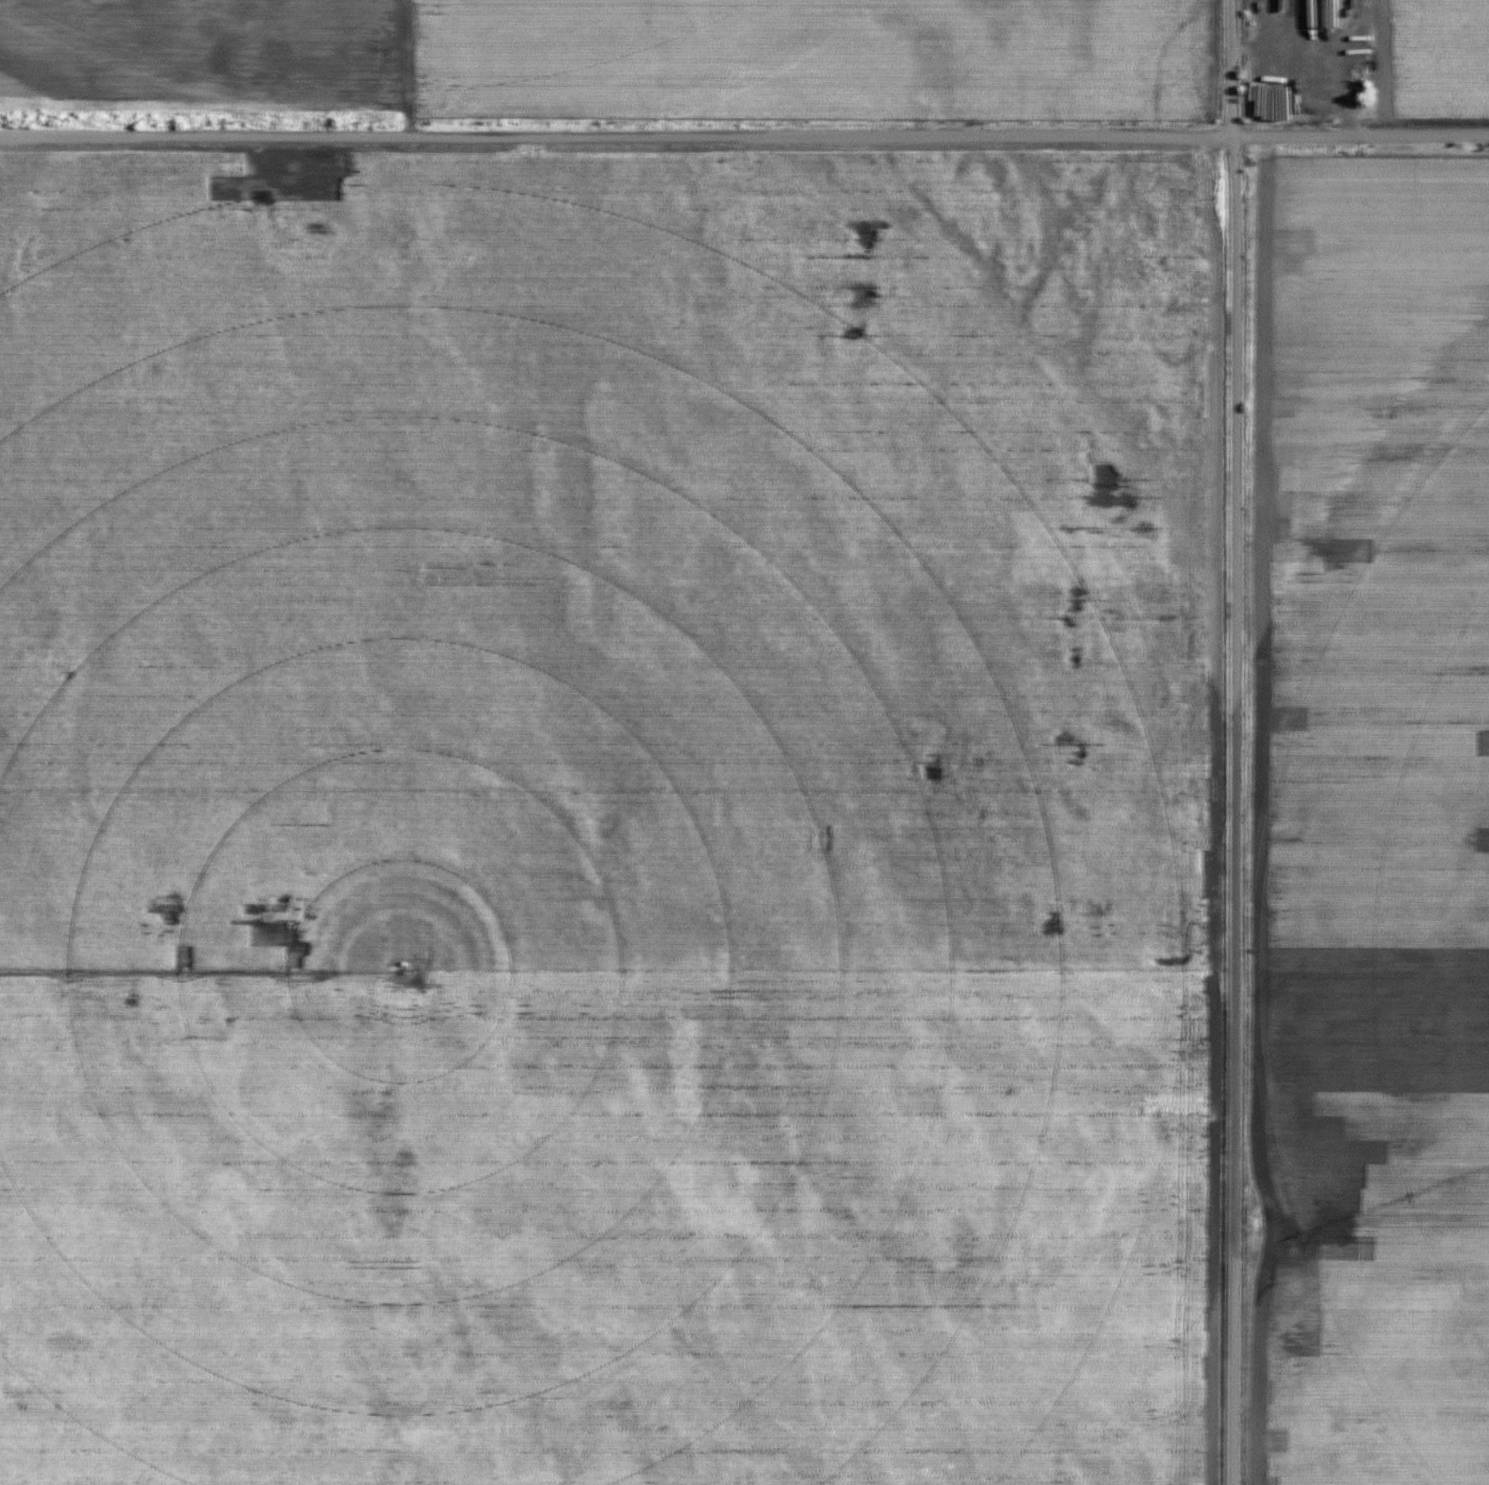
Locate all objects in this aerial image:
building: (1266, 95)
road: (744, 134)
building: (1180, 191)
building: (1168, 244)
road: (1238, 742)

